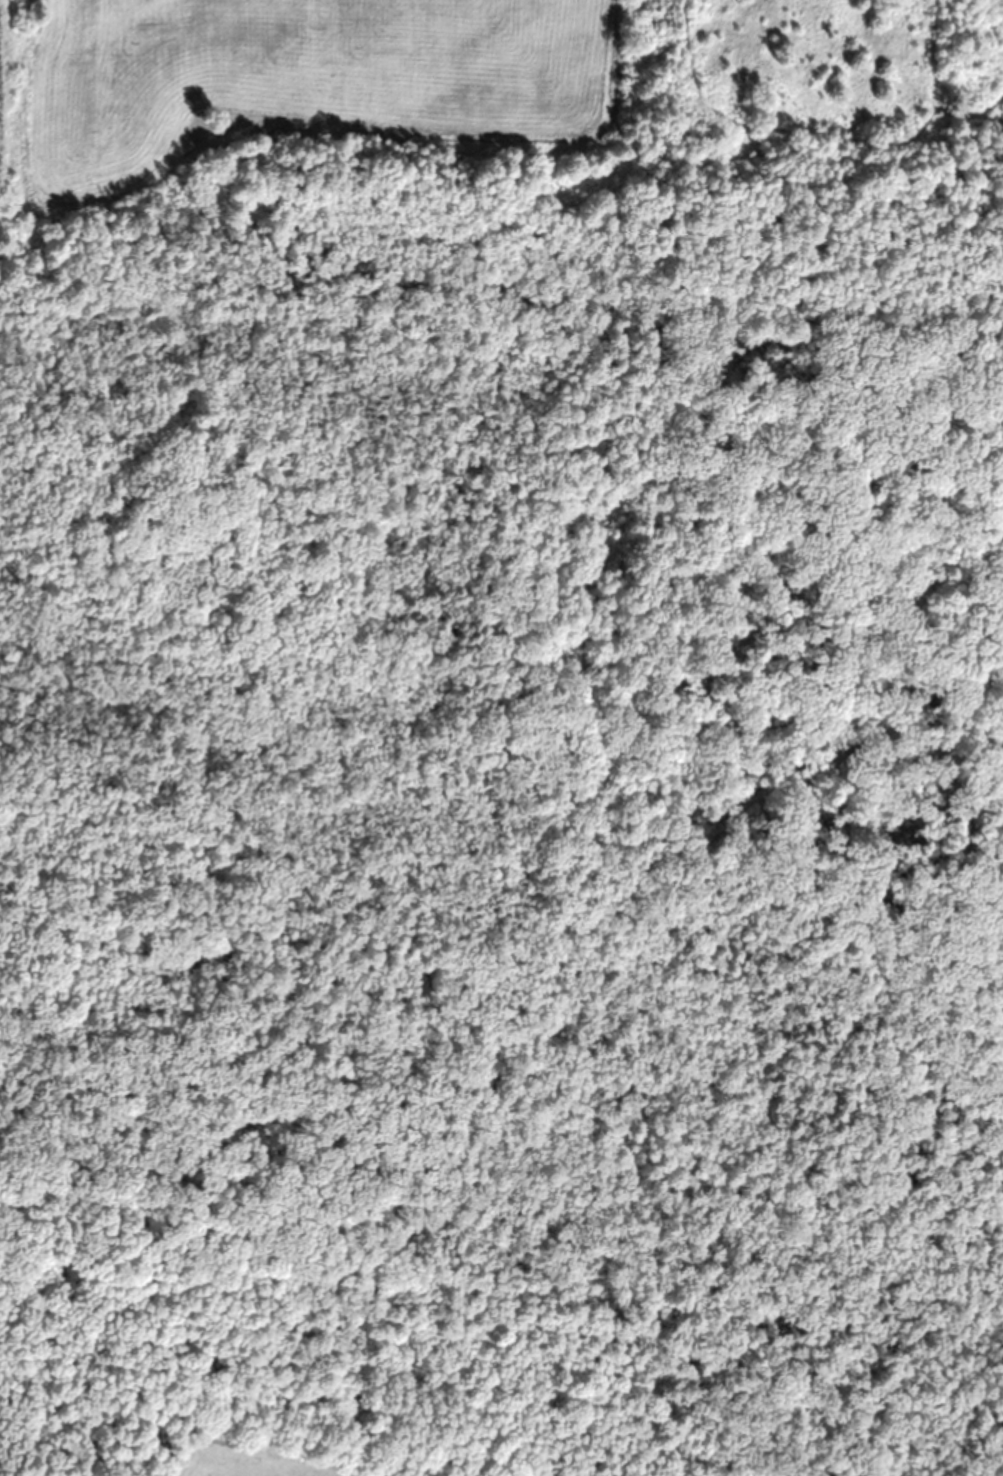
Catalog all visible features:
crop: (304, 77)

